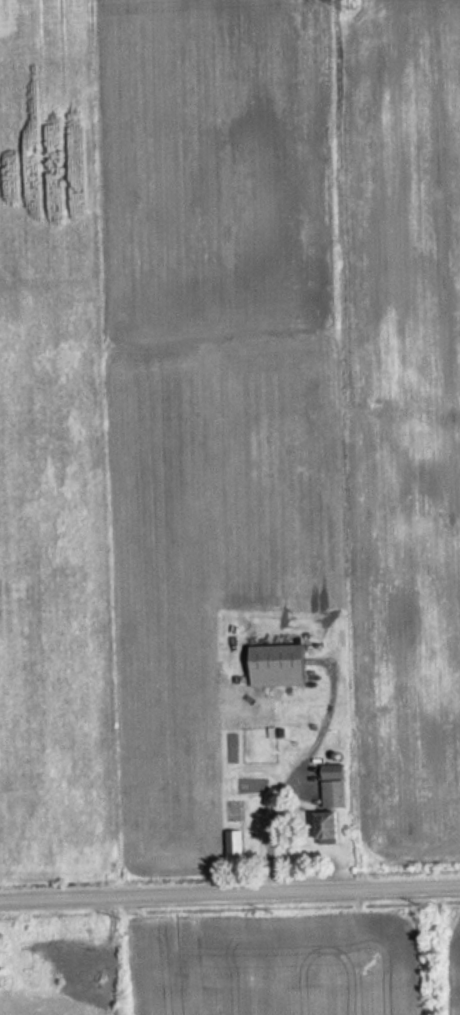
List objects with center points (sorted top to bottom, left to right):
power tower: (347, 3)
building: (279, 665)
building: (334, 787)
building: (328, 828)
building: (233, 848)
road: (230, 891)

